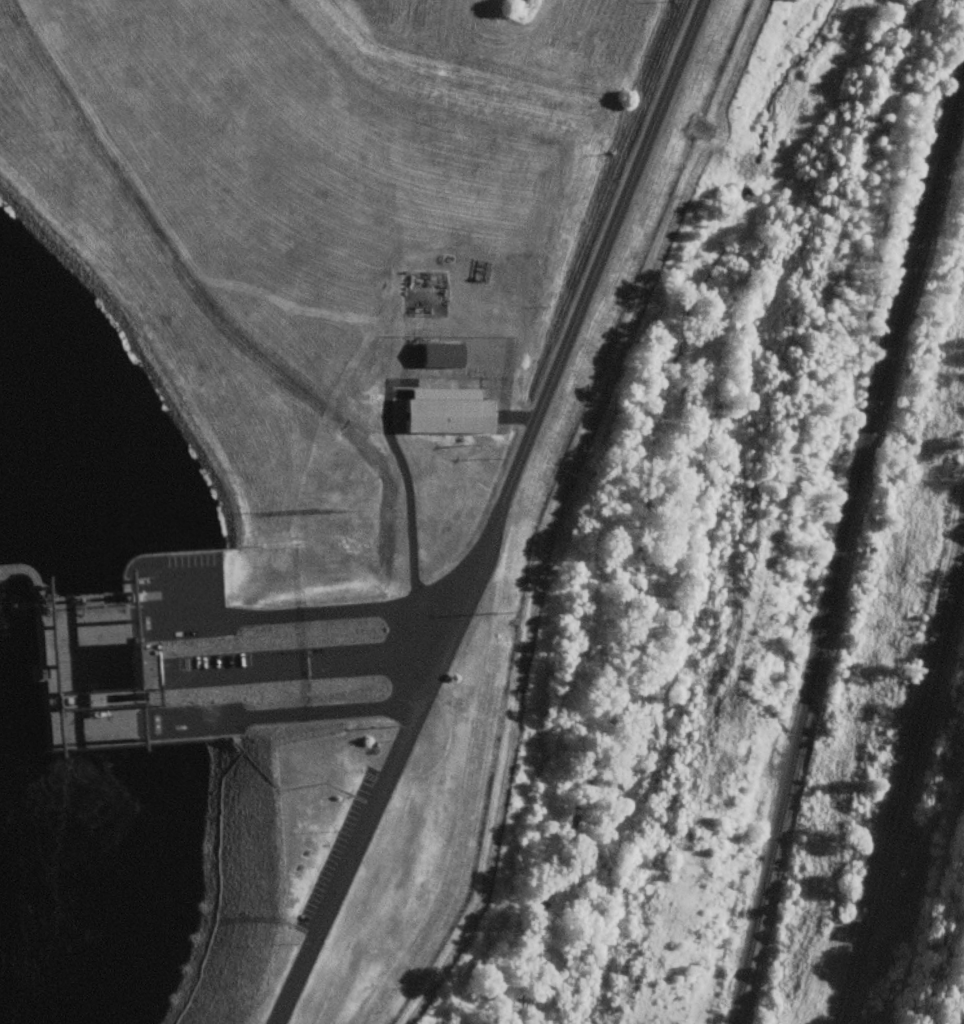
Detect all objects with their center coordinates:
power tower: (333, 512)
road: (507, 515)
railway: (838, 565)
dam: (21, 568)
road: (305, 668)
road: (902, 783)

